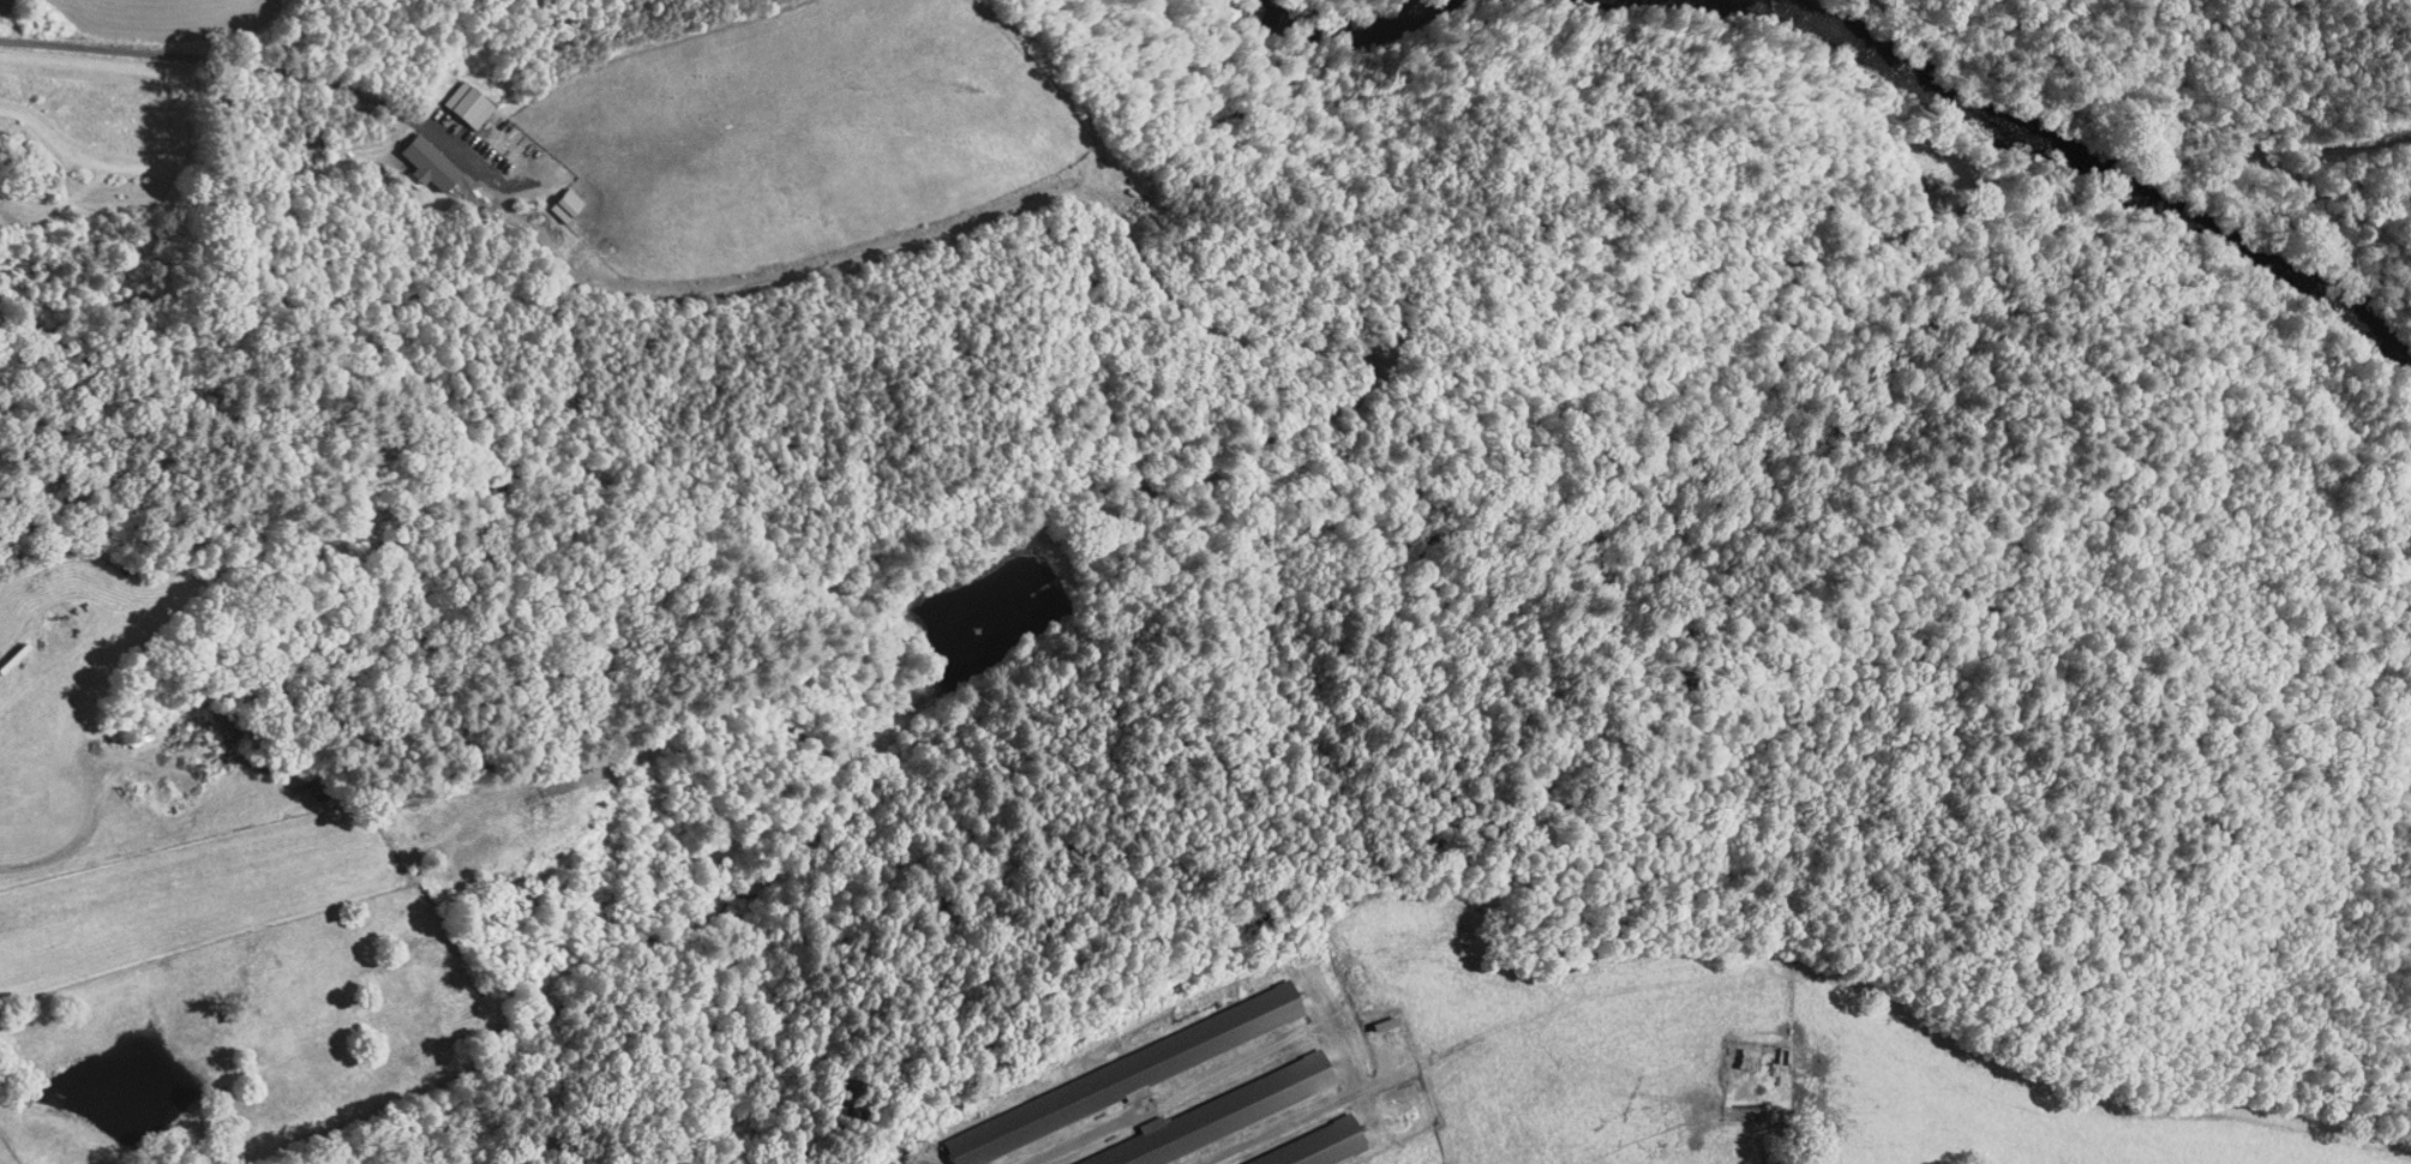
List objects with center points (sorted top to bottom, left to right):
river: (1366, 5)
road: (25, 41)
road: (272, 70)
river: (1936, 78)
building: (457, 95)
road: (2316, 136)
building: (419, 155)
building: (556, 197)
river: (2260, 271)
building: (1729, 1051)
building: (1090, 1075)
building: (1201, 1110)
building: (1291, 1144)

